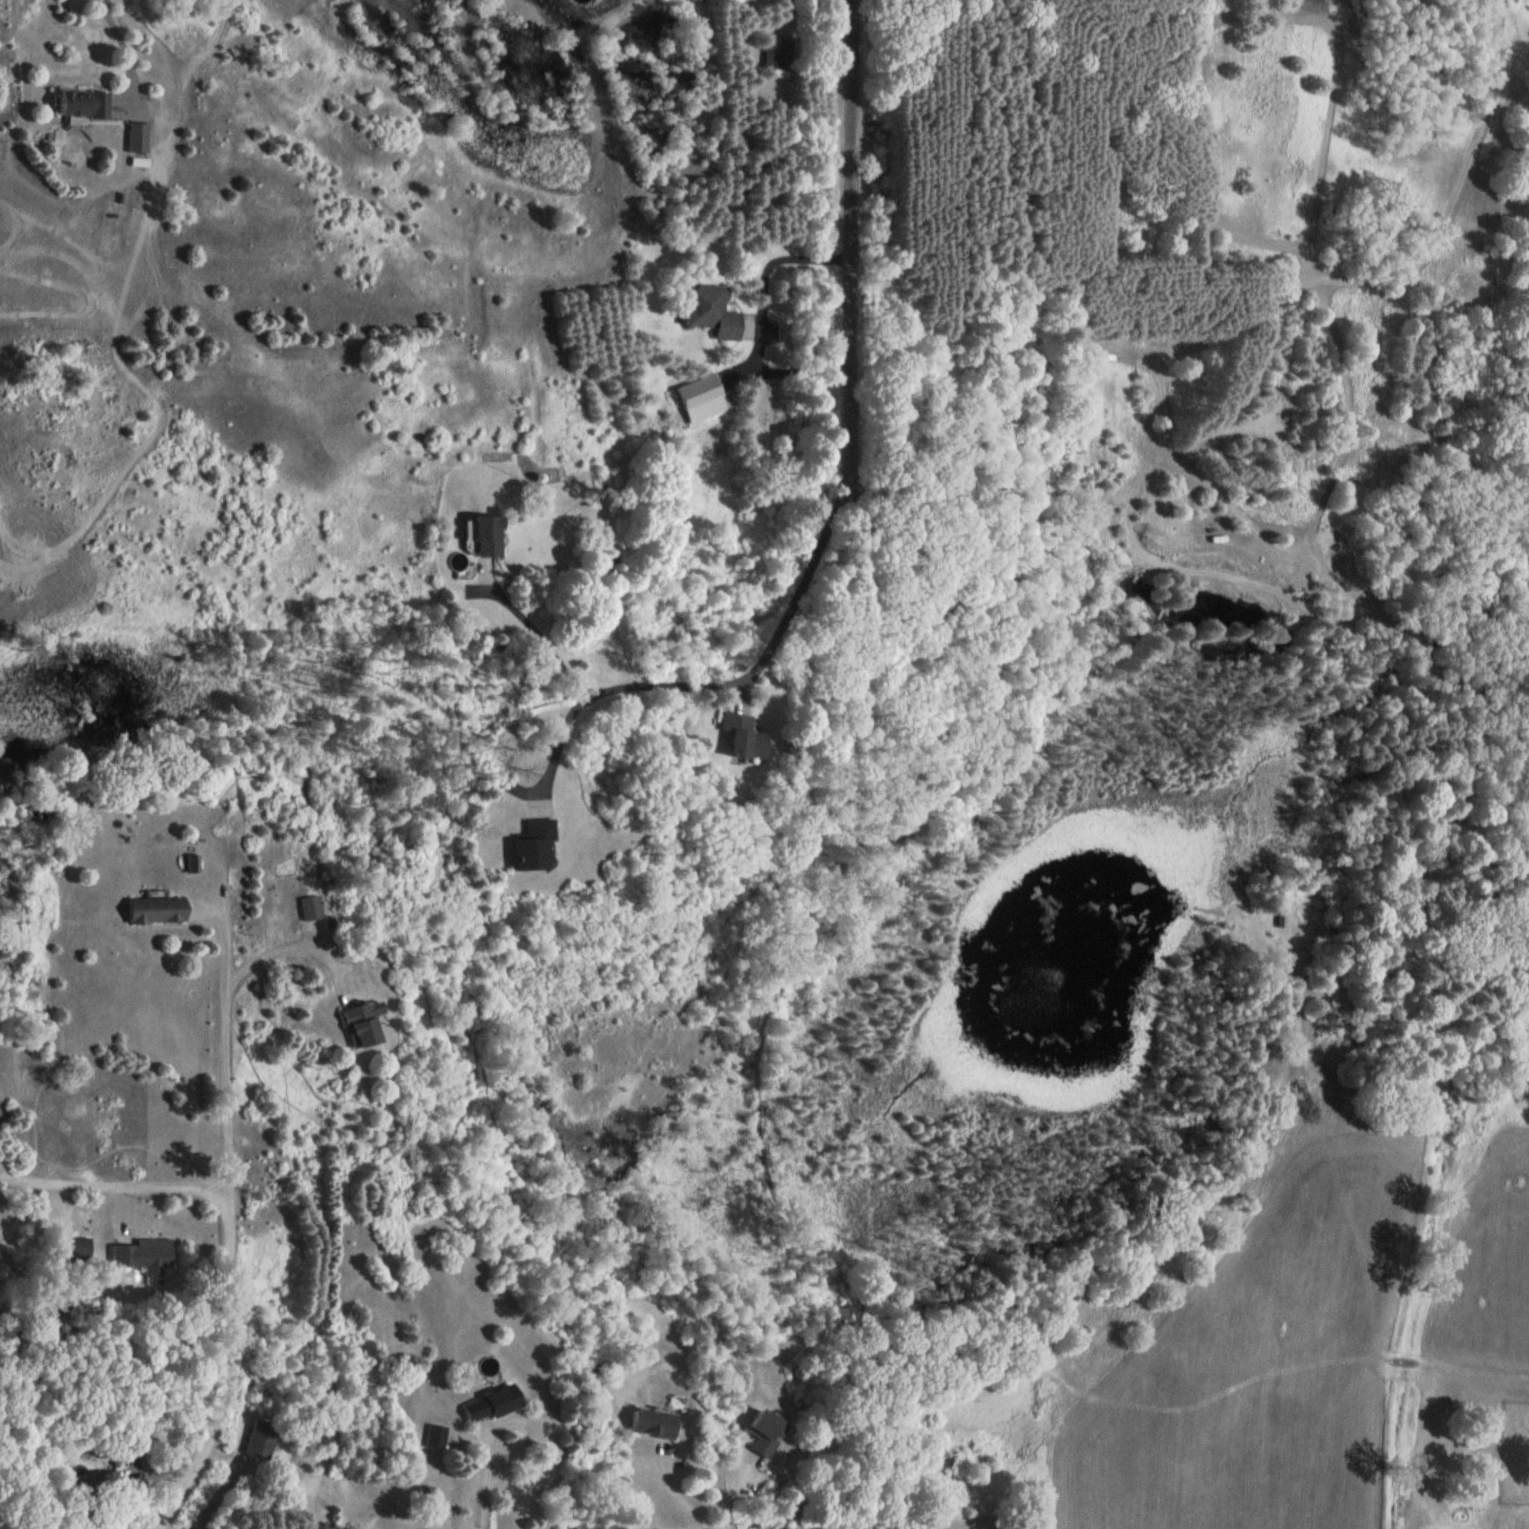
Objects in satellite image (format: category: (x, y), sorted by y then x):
road: (122, 41)
building: (771, 56)
building: (75, 103)
building: (134, 137)
building: (705, 311)
road: (764, 318)
building: (694, 398)
building: (478, 534)
road: (852, 556)
road: (540, 634)
road: (714, 686)
building: (726, 739)
building: (523, 845)
building: (189, 863)
building: (309, 907)
building: (147, 910)
road: (286, 947)
building: (352, 1022)
road: (109, 1174)
road: (220, 1238)
building: (62, 1248)
building: (140, 1256)
building: (586, 1368)
building: (481, 1405)
building: (641, 1425)
building: (751, 1433)
building: (430, 1438)
building: (249, 1440)
road: (488, 1473)
building: (87, 1483)
road: (728, 1484)
road: (674, 1489)

